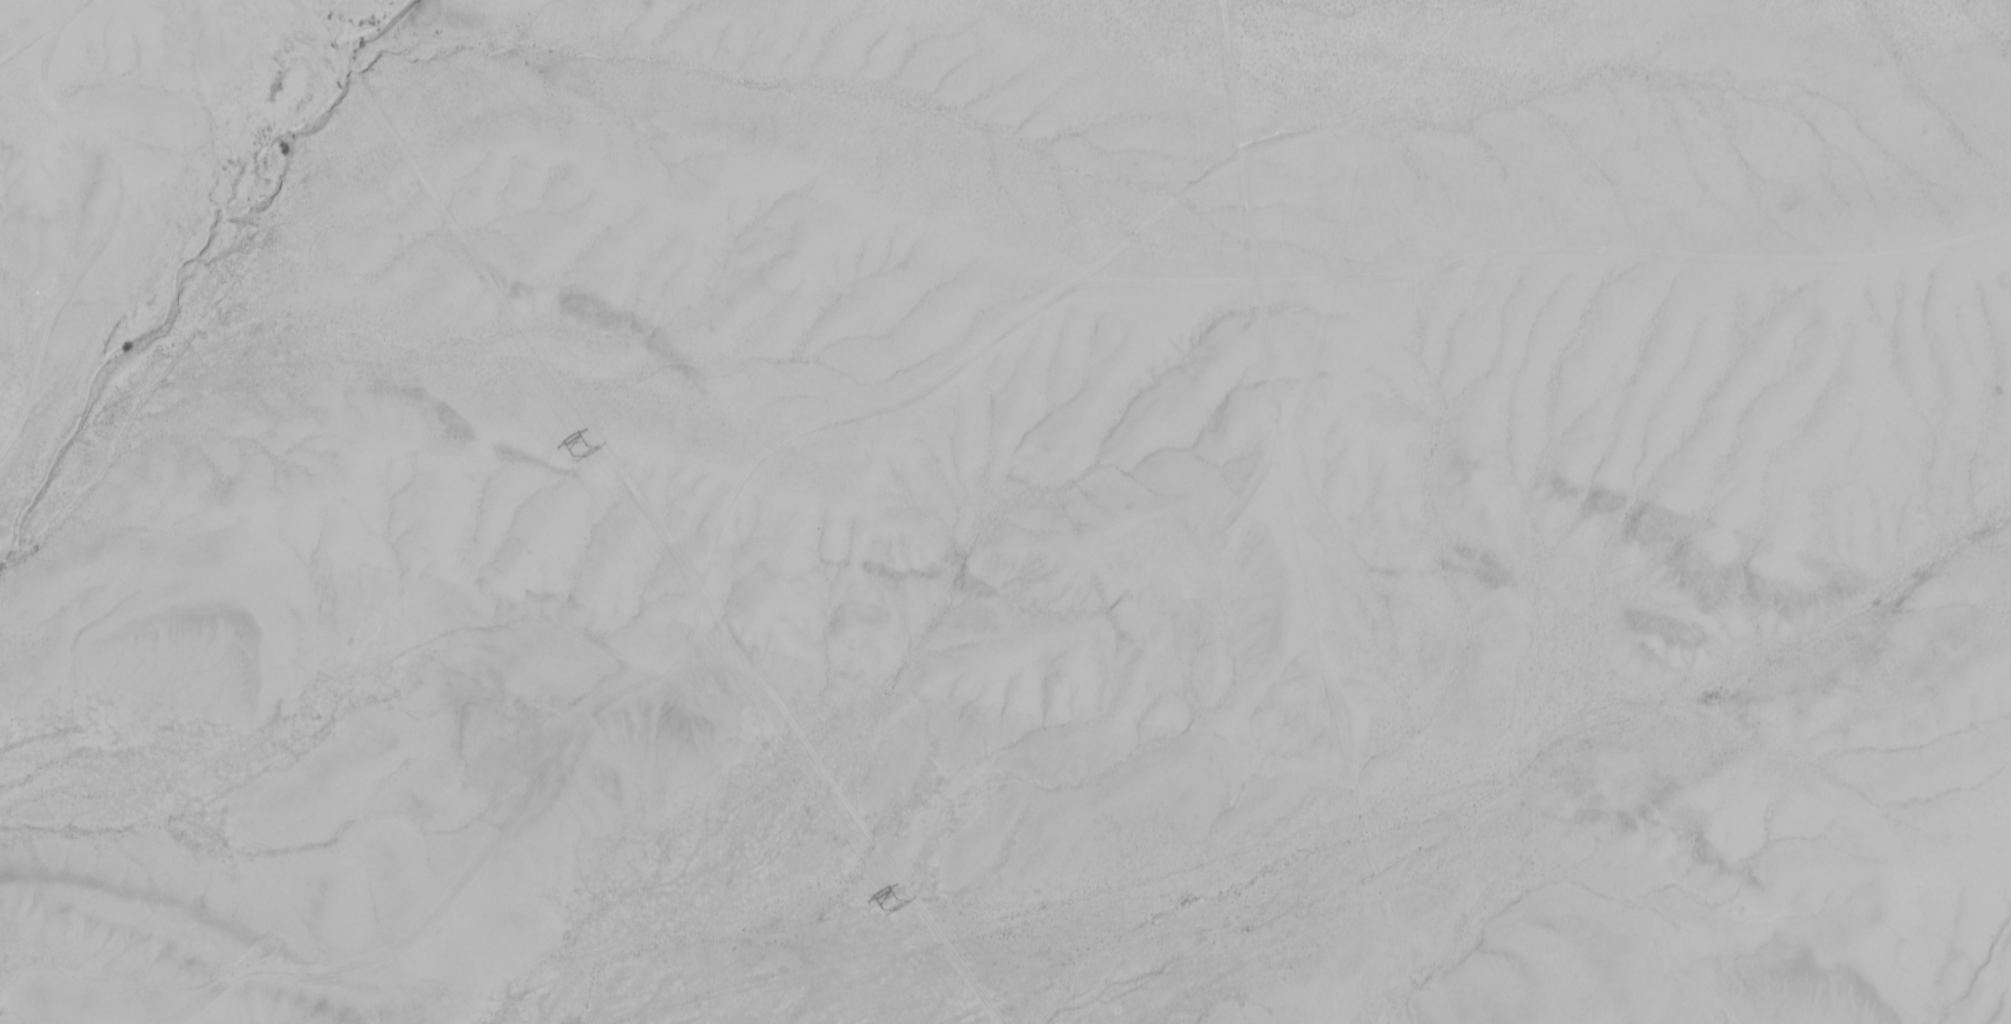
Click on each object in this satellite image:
road: (64, 41)
power tower: (575, 447)
power tower: (886, 900)

